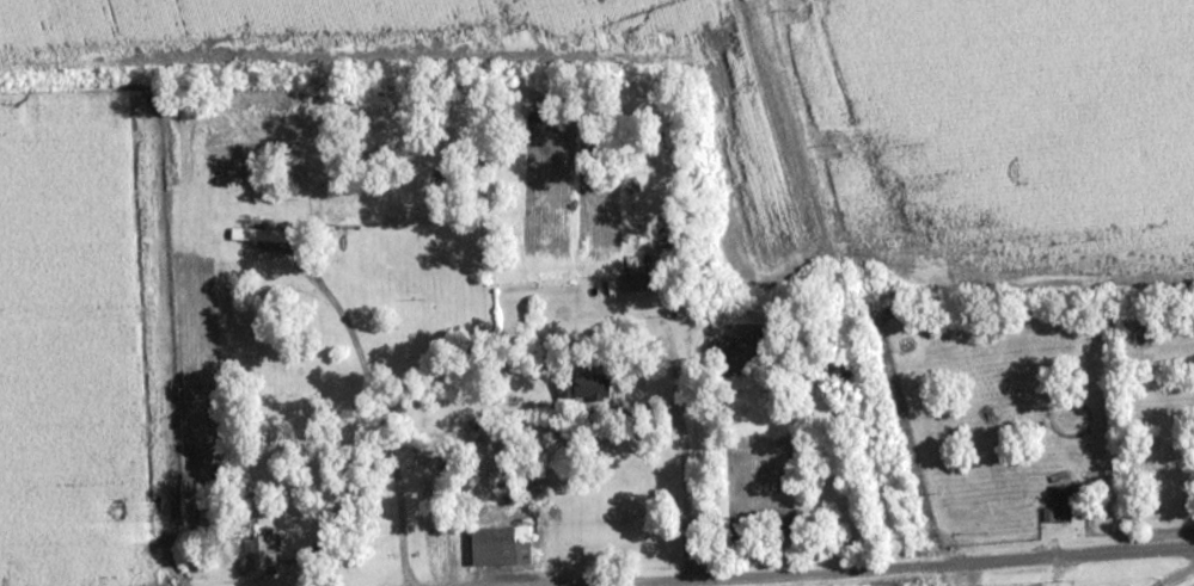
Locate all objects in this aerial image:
building: (263, 239)
building: (633, 283)
building: (580, 388)
building: (1059, 506)
building: (500, 547)
building: (258, 555)
road: (896, 568)
road: (718, 582)

